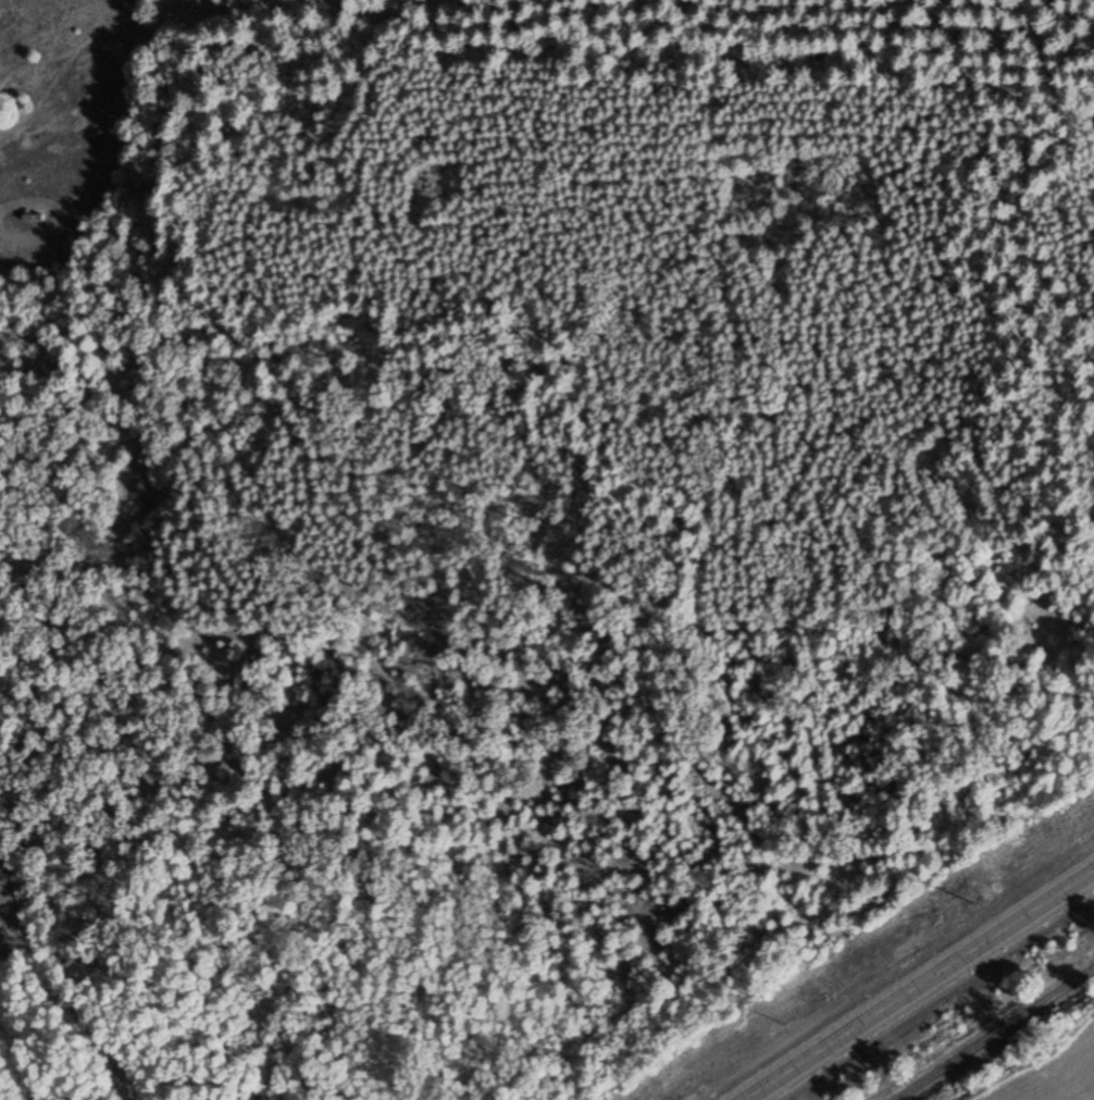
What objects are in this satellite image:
road: (920, 986)
railway: (995, 1035)

